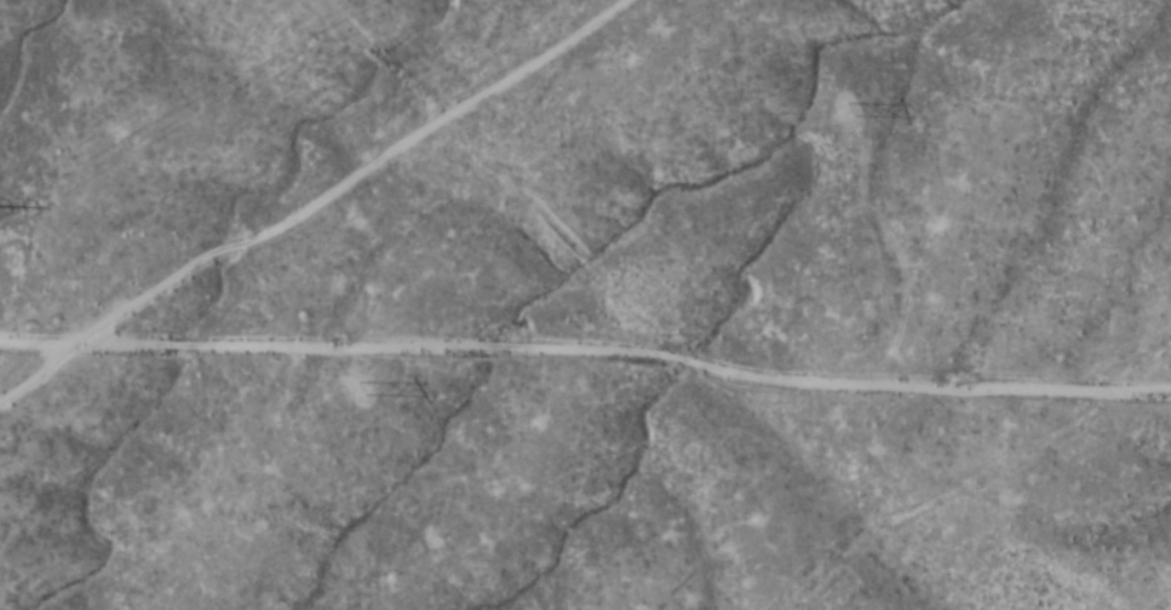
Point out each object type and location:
power tower: (857, 108)
road: (585, 370)
power tower: (371, 392)

